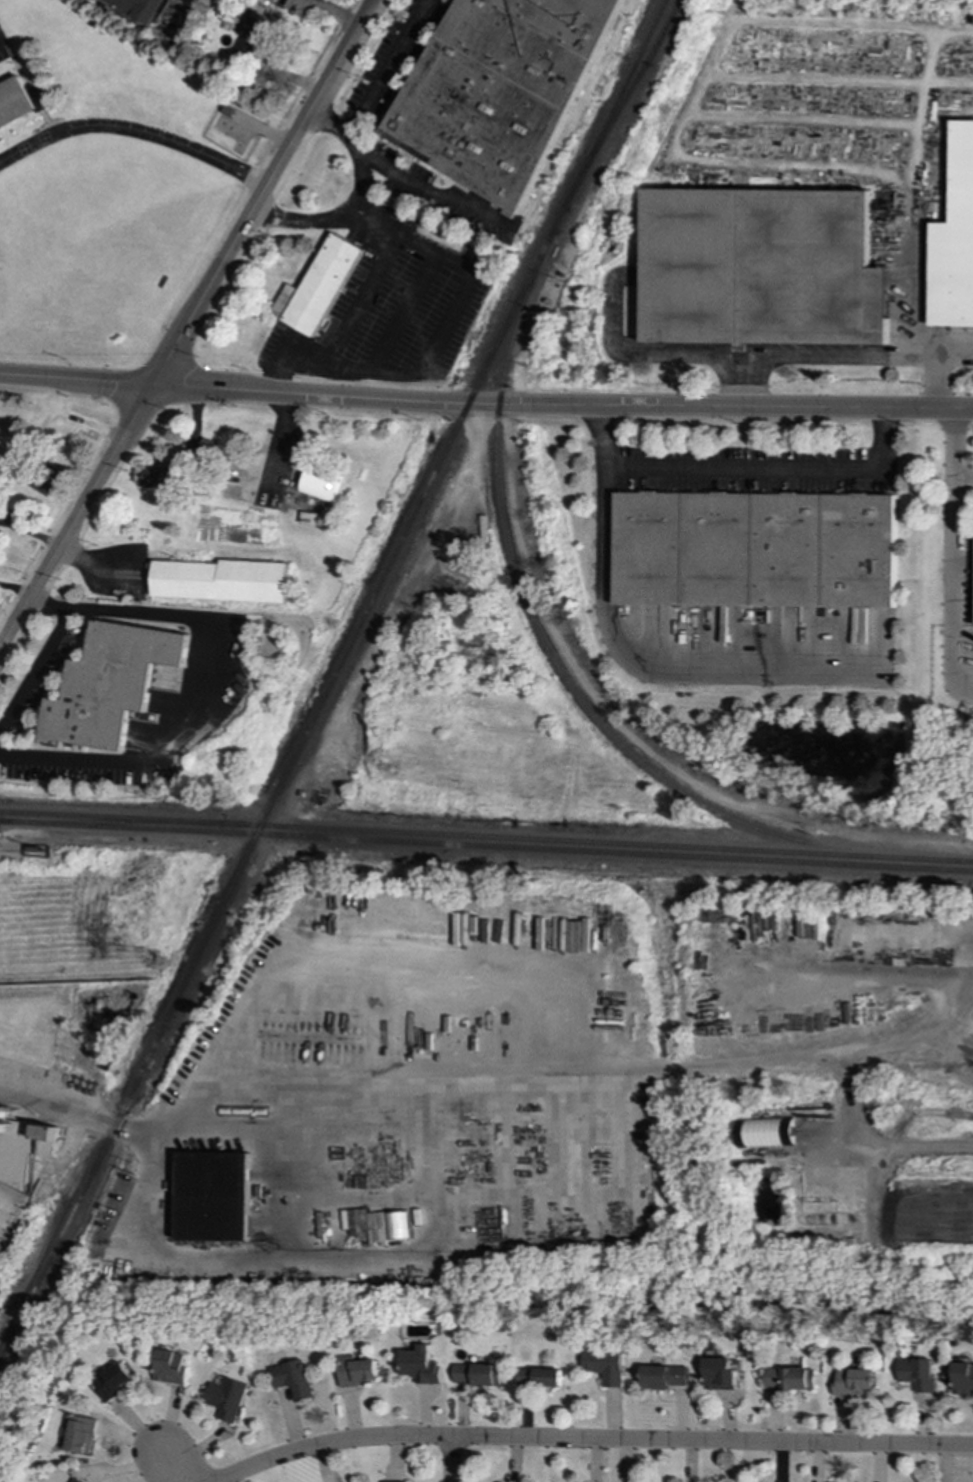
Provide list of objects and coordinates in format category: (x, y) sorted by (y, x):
building: (144, 8)
road: (334, 14)
road: (803, 23)
road: (949, 33)
road: (838, 80)
road: (376, 82)
building: (501, 90)
building: (37, 98)
building: (15, 103)
railway: (614, 103)
railway: (622, 104)
road: (800, 120)
road: (135, 131)
road: (428, 191)
road: (349, 215)
building: (954, 239)
building: (759, 268)
building: (317, 287)
road: (359, 297)
road: (188, 324)
road: (436, 347)
road: (667, 355)
road: (858, 358)
road: (952, 360)
road: (486, 409)
road: (279, 446)
building: (207, 451)
road: (741, 471)
road: (963, 475)
building: (45, 478)
building: (162, 480)
building: (319, 485)
building: (754, 549)
road: (953, 554)
building: (220, 581)
road: (651, 666)
road: (36, 670)
road: (197, 680)
building: (110, 684)
railway: (282, 783)
railway: (111, 818)
railway: (111, 822)
railway: (597, 843)
railway: (486, 846)
building: (765, 1132)
road: (157, 1134)
building: (25, 1149)
building: (215, 1197)
building: (366, 1222)
building: (398, 1226)
building: (421, 1365)
building: (605, 1366)
building: (171, 1367)
building: (357, 1371)
building: (918, 1373)
building: (477, 1374)
building: (720, 1374)
building: (540, 1377)
building: (666, 1377)
building: (292, 1378)
building: (790, 1378)
building: (963, 1379)
building: (114, 1381)
building: (854, 1381)
building: (227, 1398)
building: (79, 1434)
road: (594, 1441)
road: (451, 1460)
road: (169, 1467)
building: (77, 1480)

